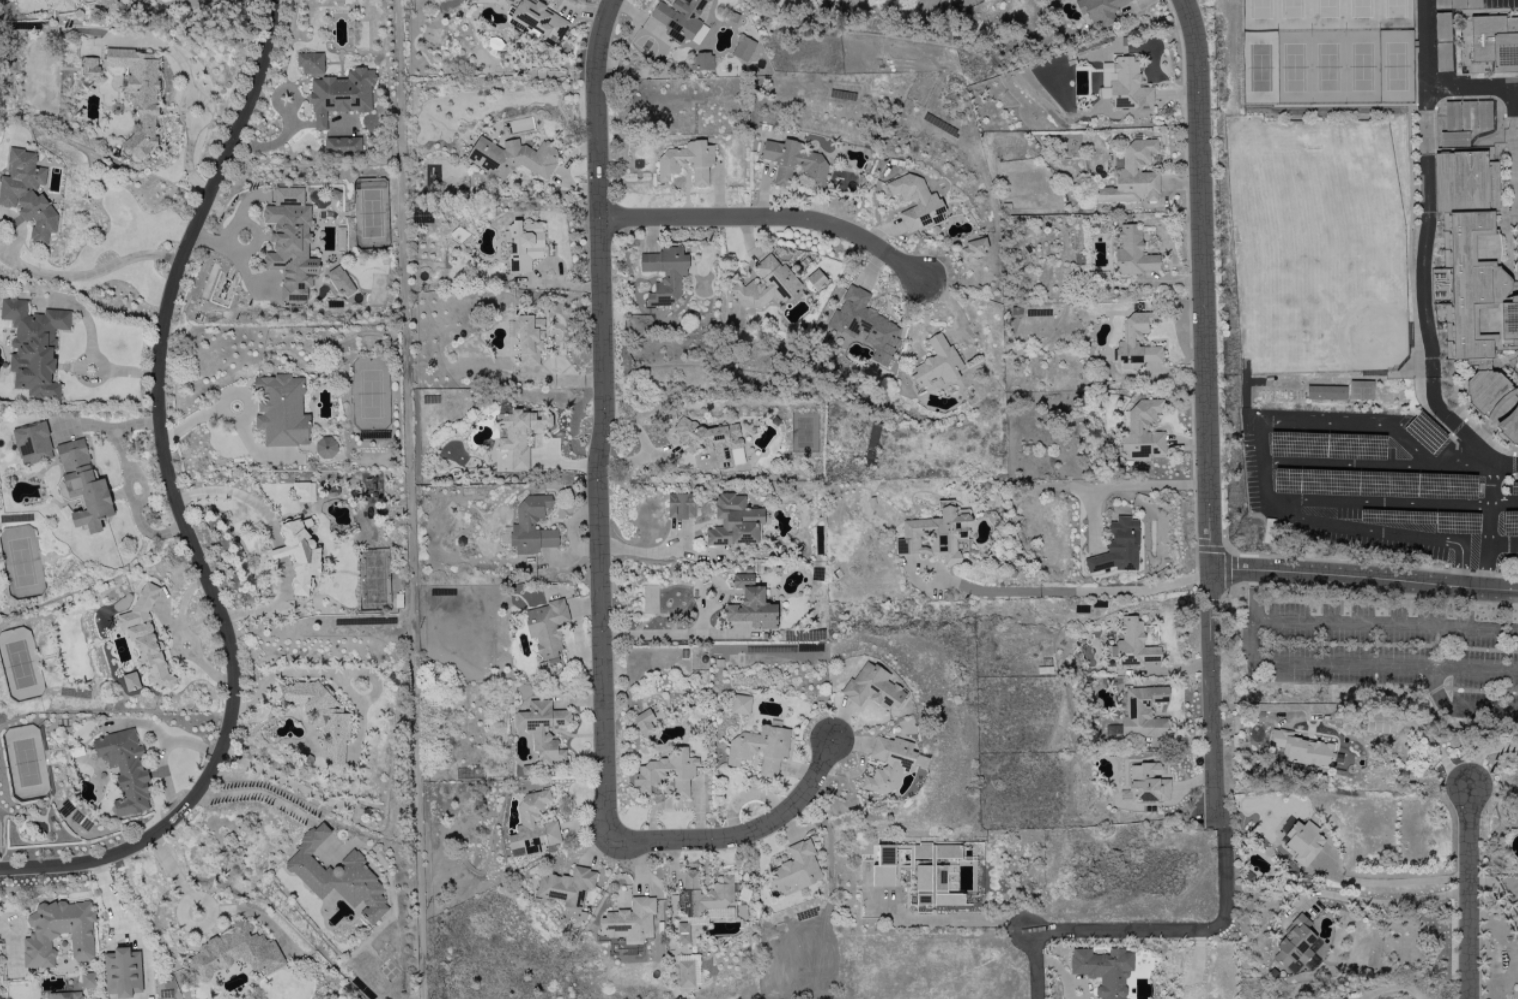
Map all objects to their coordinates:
building: (484, 1)
building: (1440, 4)
building: (62, 5)
building: (1098, 10)
building: (538, 19)
building: (681, 20)
building: (1440, 25)
building: (1494, 42)
building: (742, 48)
park: (1327, 52)
building: (701, 61)
building: (310, 63)
building: (89, 68)
building: (1123, 85)
road: (1471, 85)
building: (340, 95)
building: (138, 96)
building: (1466, 116)
building: (342, 147)
road: (187, 158)
building: (511, 158)
building: (686, 162)
building: (792, 162)
building: (1132, 176)
building: (27, 193)
building: (915, 203)
road: (769, 218)
road: (18, 229)
building: (289, 243)
building: (523, 244)
road: (1422, 246)
road: (2, 249)
building: (972, 251)
building: (1132, 253)
building: (1470, 259)
road: (90, 272)
building: (664, 275)
building: (815, 280)
building: (339, 281)
road: (1202, 284)
building: (766, 285)
building: (863, 326)
building: (528, 340)
building: (1135, 342)
building: (33, 347)
road: (90, 363)
building: (936, 363)
building: (1360, 390)
building: (1324, 393)
road: (604, 401)
building: (280, 411)
road: (636, 417)
road: (230, 419)
building: (1509, 426)
road: (1314, 427)
building: (1142, 431)
building: (518, 432)
building: (30, 440)
building: (711, 442)
building: (324, 447)
road: (646, 454)
road: (1376, 465)
road: (126, 480)
road: (1128, 485)
building: (82, 486)
building: (299, 489)
road: (1377, 501)
road: (1504, 504)
road: (177, 506)
building: (679, 506)
building: (733, 522)
building: (531, 526)
road: (1353, 526)
road: (1487, 529)
building: (934, 535)
road: (1502, 546)
building: (1116, 548)
road: (658, 553)
building: (298, 554)
road: (1227, 555)
road: (1461, 561)
road: (1372, 565)
road: (1364, 580)
road: (1068, 588)
road: (1371, 593)
building: (750, 605)
road: (1254, 617)
road: (1386, 624)
building: (545, 628)
road: (185, 634)
road: (673, 635)
building: (145, 638)
building: (1133, 644)
parking lot: (1385, 650)
road: (1386, 667)
road: (1180, 668)
building: (872, 687)
road: (1215, 704)
building: (739, 705)
building: (1141, 712)
building: (321, 717)
building: (643, 722)
road: (1410, 725)
building: (542, 730)
road: (356, 744)
building: (759, 749)
building: (1300, 750)
road: (1480, 754)
building: (887, 764)
building: (124, 770)
building: (666, 773)
building: (1146, 784)
road: (258, 793)
building: (532, 826)
road: (730, 839)
road: (1225, 840)
building: (1300, 840)
building: (883, 868)
building: (794, 869)
building: (932, 874)
building: (336, 876)
road: (176, 879)
road: (1398, 882)
building: (566, 888)
road: (1471, 894)
building: (702, 895)
road: (1499, 899)
road: (1370, 901)
road: (966, 920)
building: (628, 921)
road: (132, 927)
road: (1163, 930)
building: (57, 933)
building: (681, 934)
building: (1294, 945)
building: (234, 953)
road: (1034, 964)
building: (1103, 970)
building: (121, 973)
road: (1058, 973)
building: (684, 974)
building: (86, 981)
road: (1389, 989)
building: (64, 995)
building: (1342, 998)

